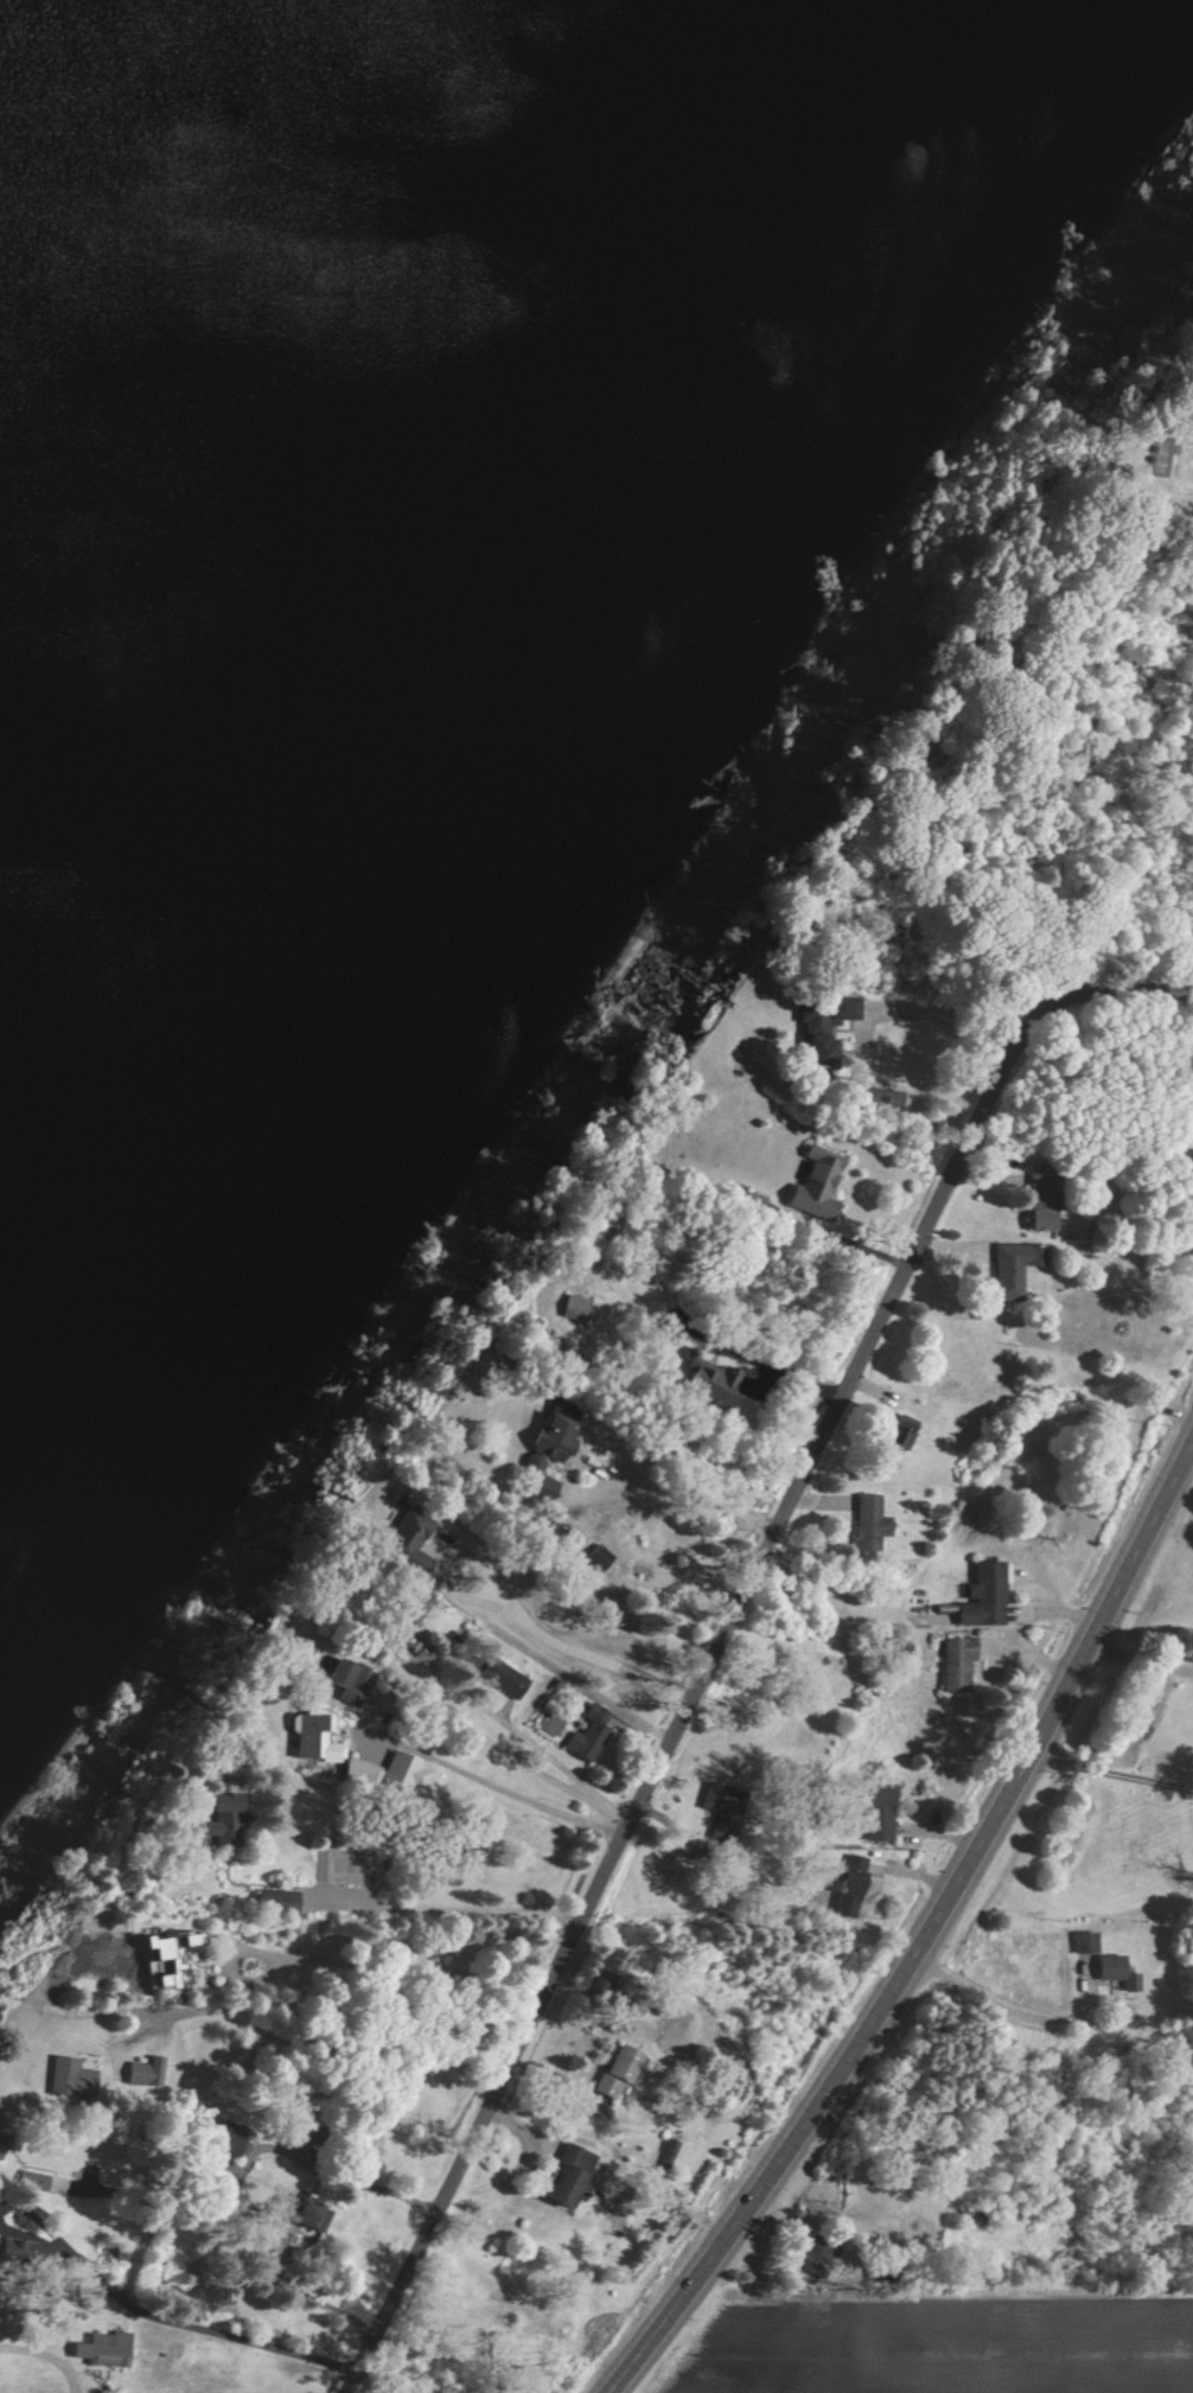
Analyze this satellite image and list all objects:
building: (816, 1029)
building: (812, 1185)
building: (749, 1202)
building: (1040, 1219)
road: (848, 1243)
building: (1013, 1269)
building: (569, 1308)
road: (790, 1374)
building: (704, 1381)
building: (898, 1432)
building: (543, 1442)
building: (537, 1487)
road: (687, 1491)
building: (868, 1523)
building: (403, 1540)
building: (595, 1558)
building: (981, 1596)
road: (518, 1608)
building: (402, 1615)
road: (732, 1634)
building: (955, 1664)
building: (499, 1677)
building: (342, 1680)
building: (587, 1735)
building: (312, 1738)
building: (402, 1772)
road: (519, 1772)
building: (357, 1773)
road: (1112, 1774)
building: (720, 1810)
building: (875, 1812)
building: (218, 1819)
building: (846, 1885)
building: (274, 1902)
road: (433, 1928)
road: (927, 1938)
building: (1083, 1942)
building: (162, 1954)
road: (351, 1961)
building: (1115, 1972)
road: (1003, 2009)
road: (315, 2035)
building: (617, 2070)
building: (145, 2073)
building: (69, 2078)
building: (222, 2144)
building: (665, 2153)
building: (563, 2176)
building: (30, 2181)
road: (361, 2182)
building: (300, 2213)
building: (14, 2252)
building: (815, 2255)
road: (198, 2329)
building: (100, 2350)
road: (49, 2353)

